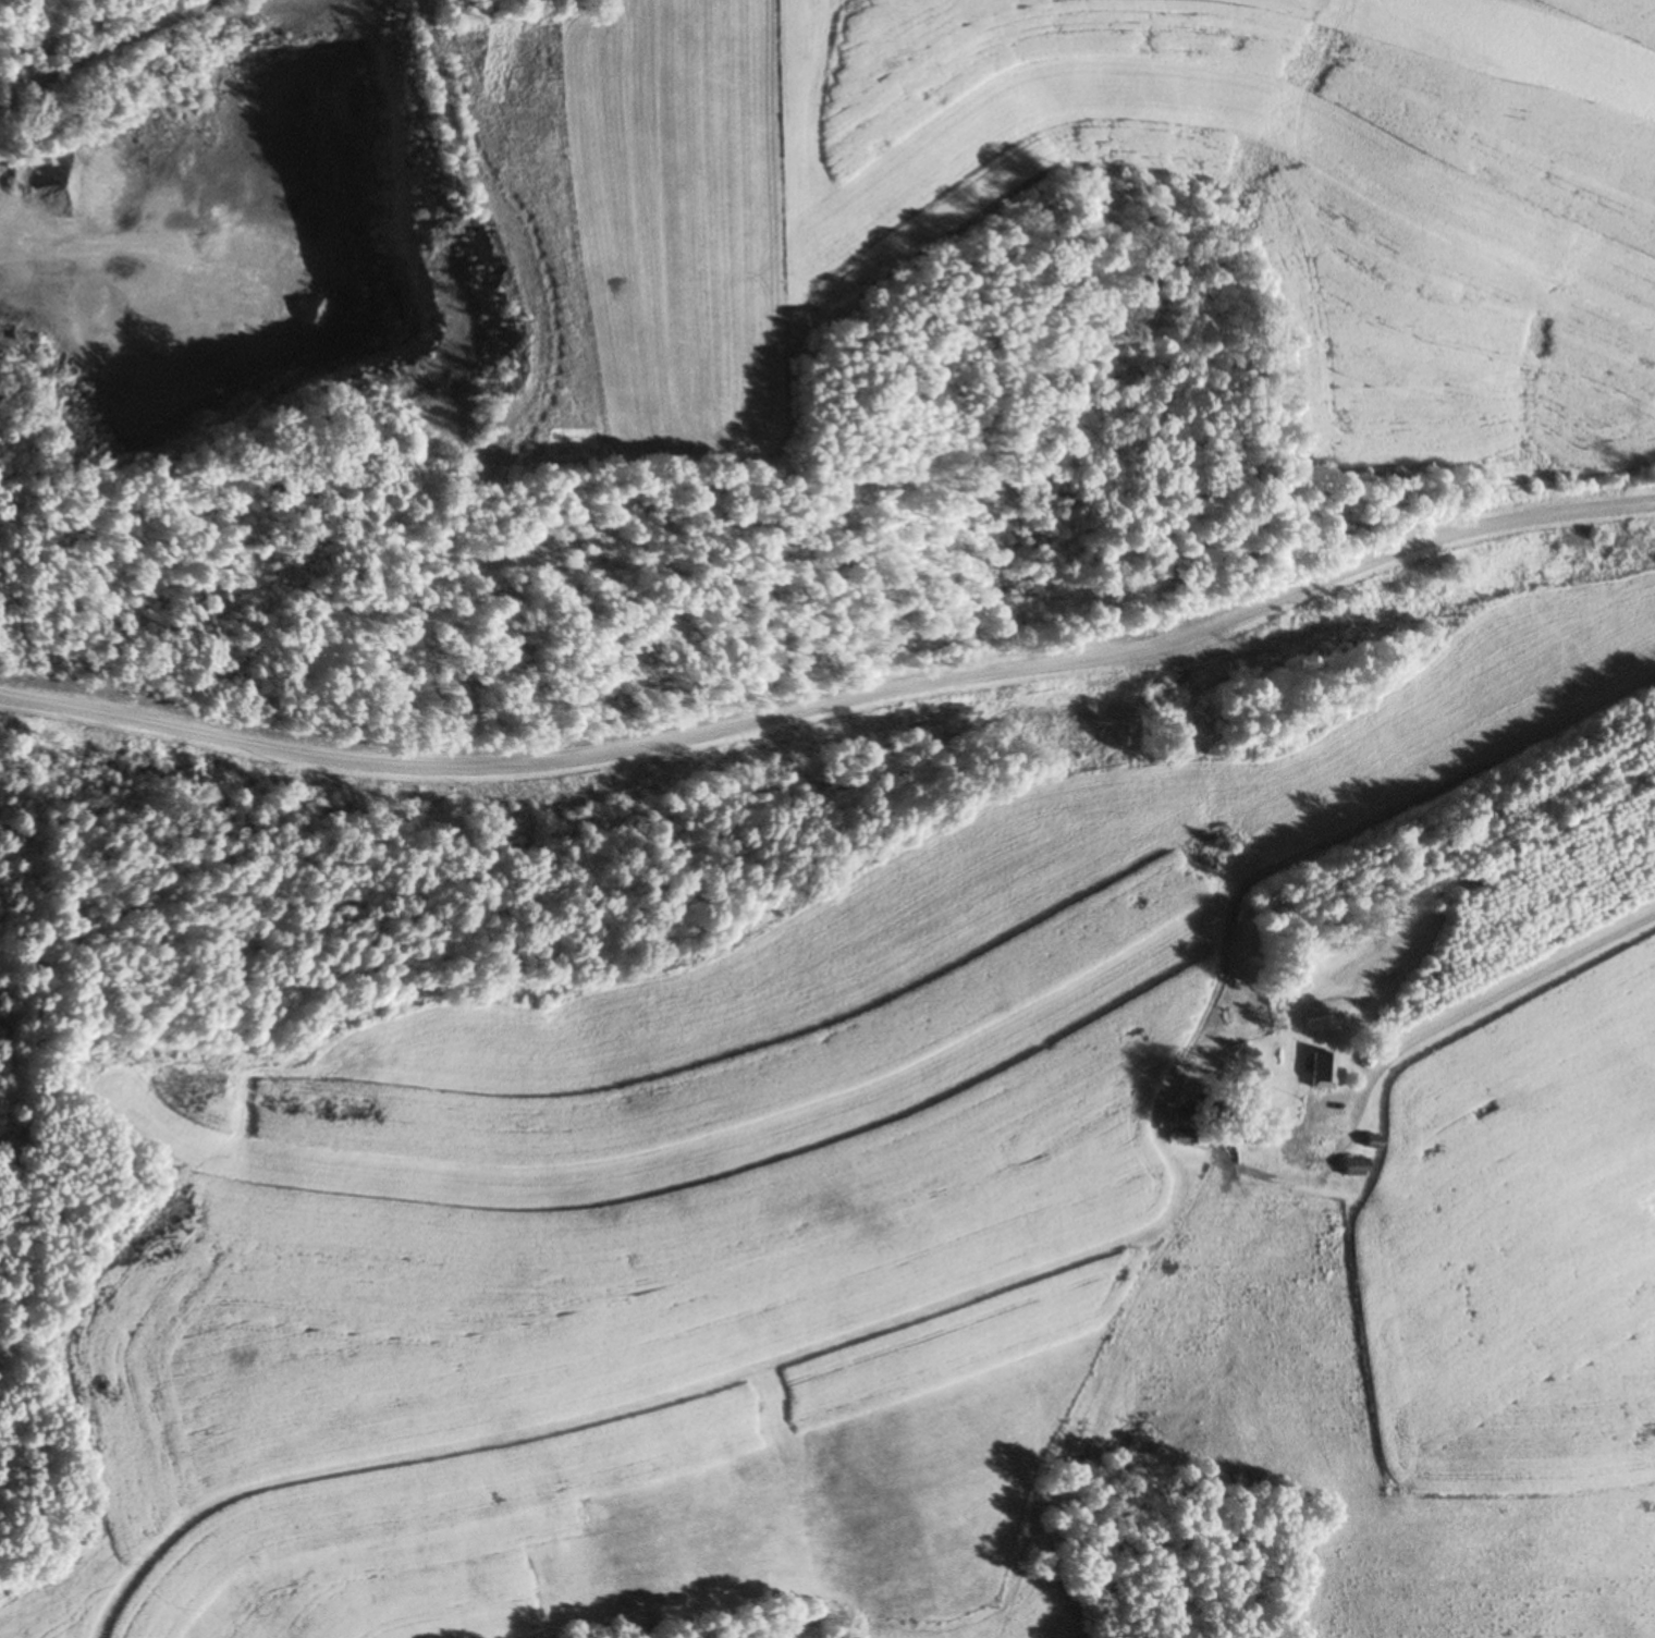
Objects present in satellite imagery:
quarry: (240, 244)
road: (836, 706)
road: (1491, 1000)
building: (1321, 1073)
building: (1370, 1142)
building: (1352, 1166)

